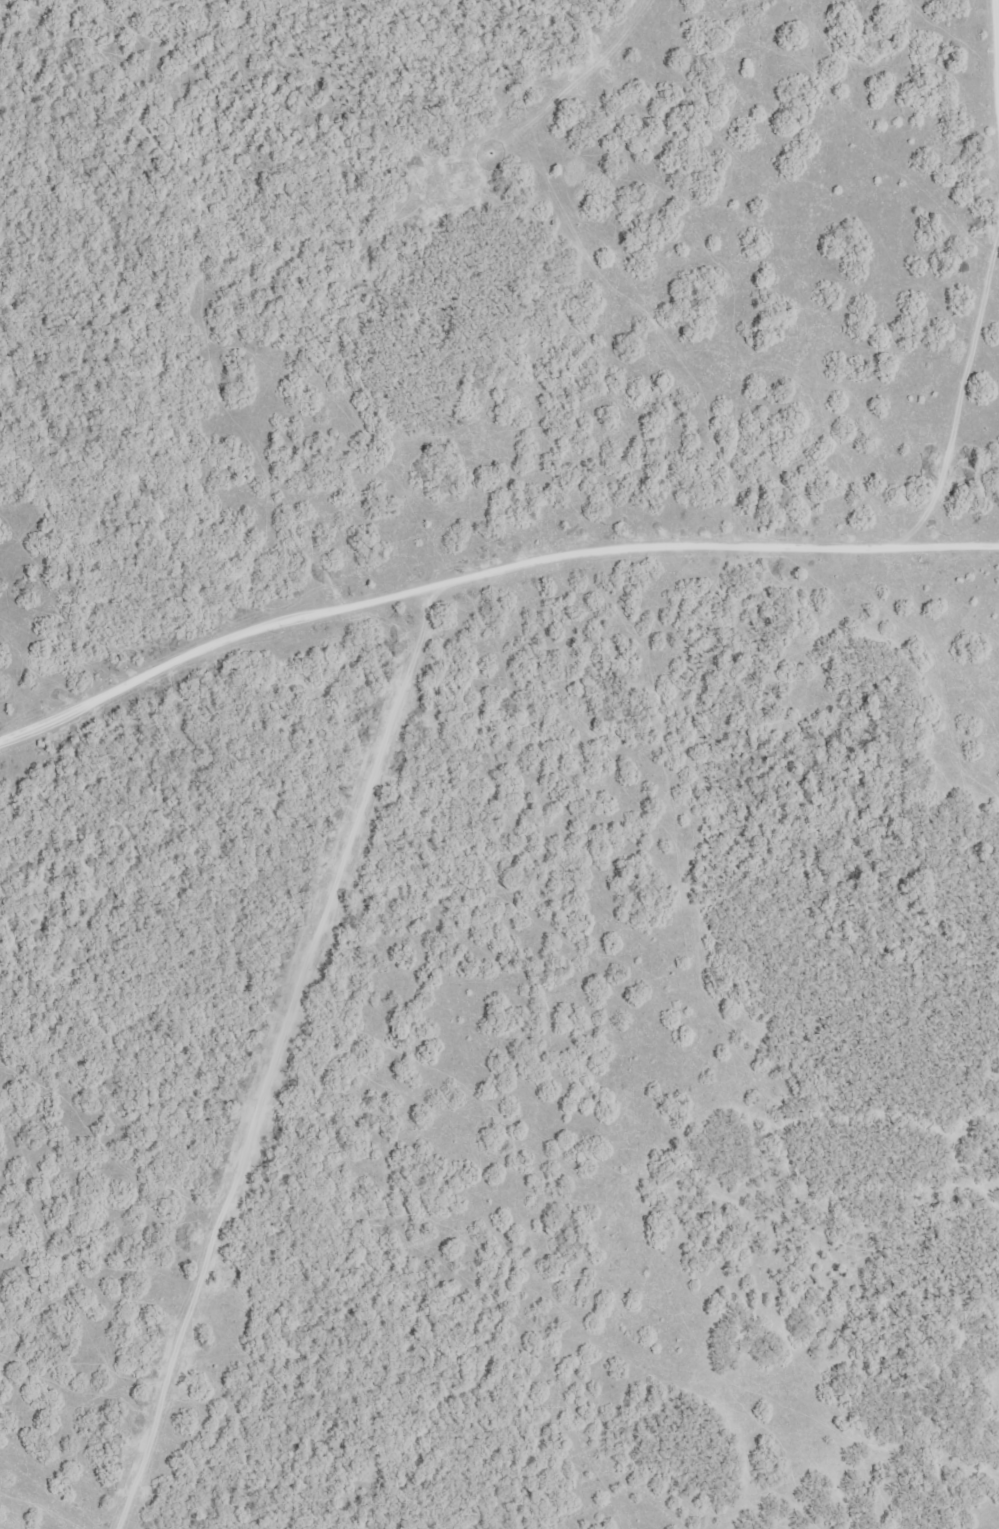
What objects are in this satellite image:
road: (488, 590)
road: (990, 598)

